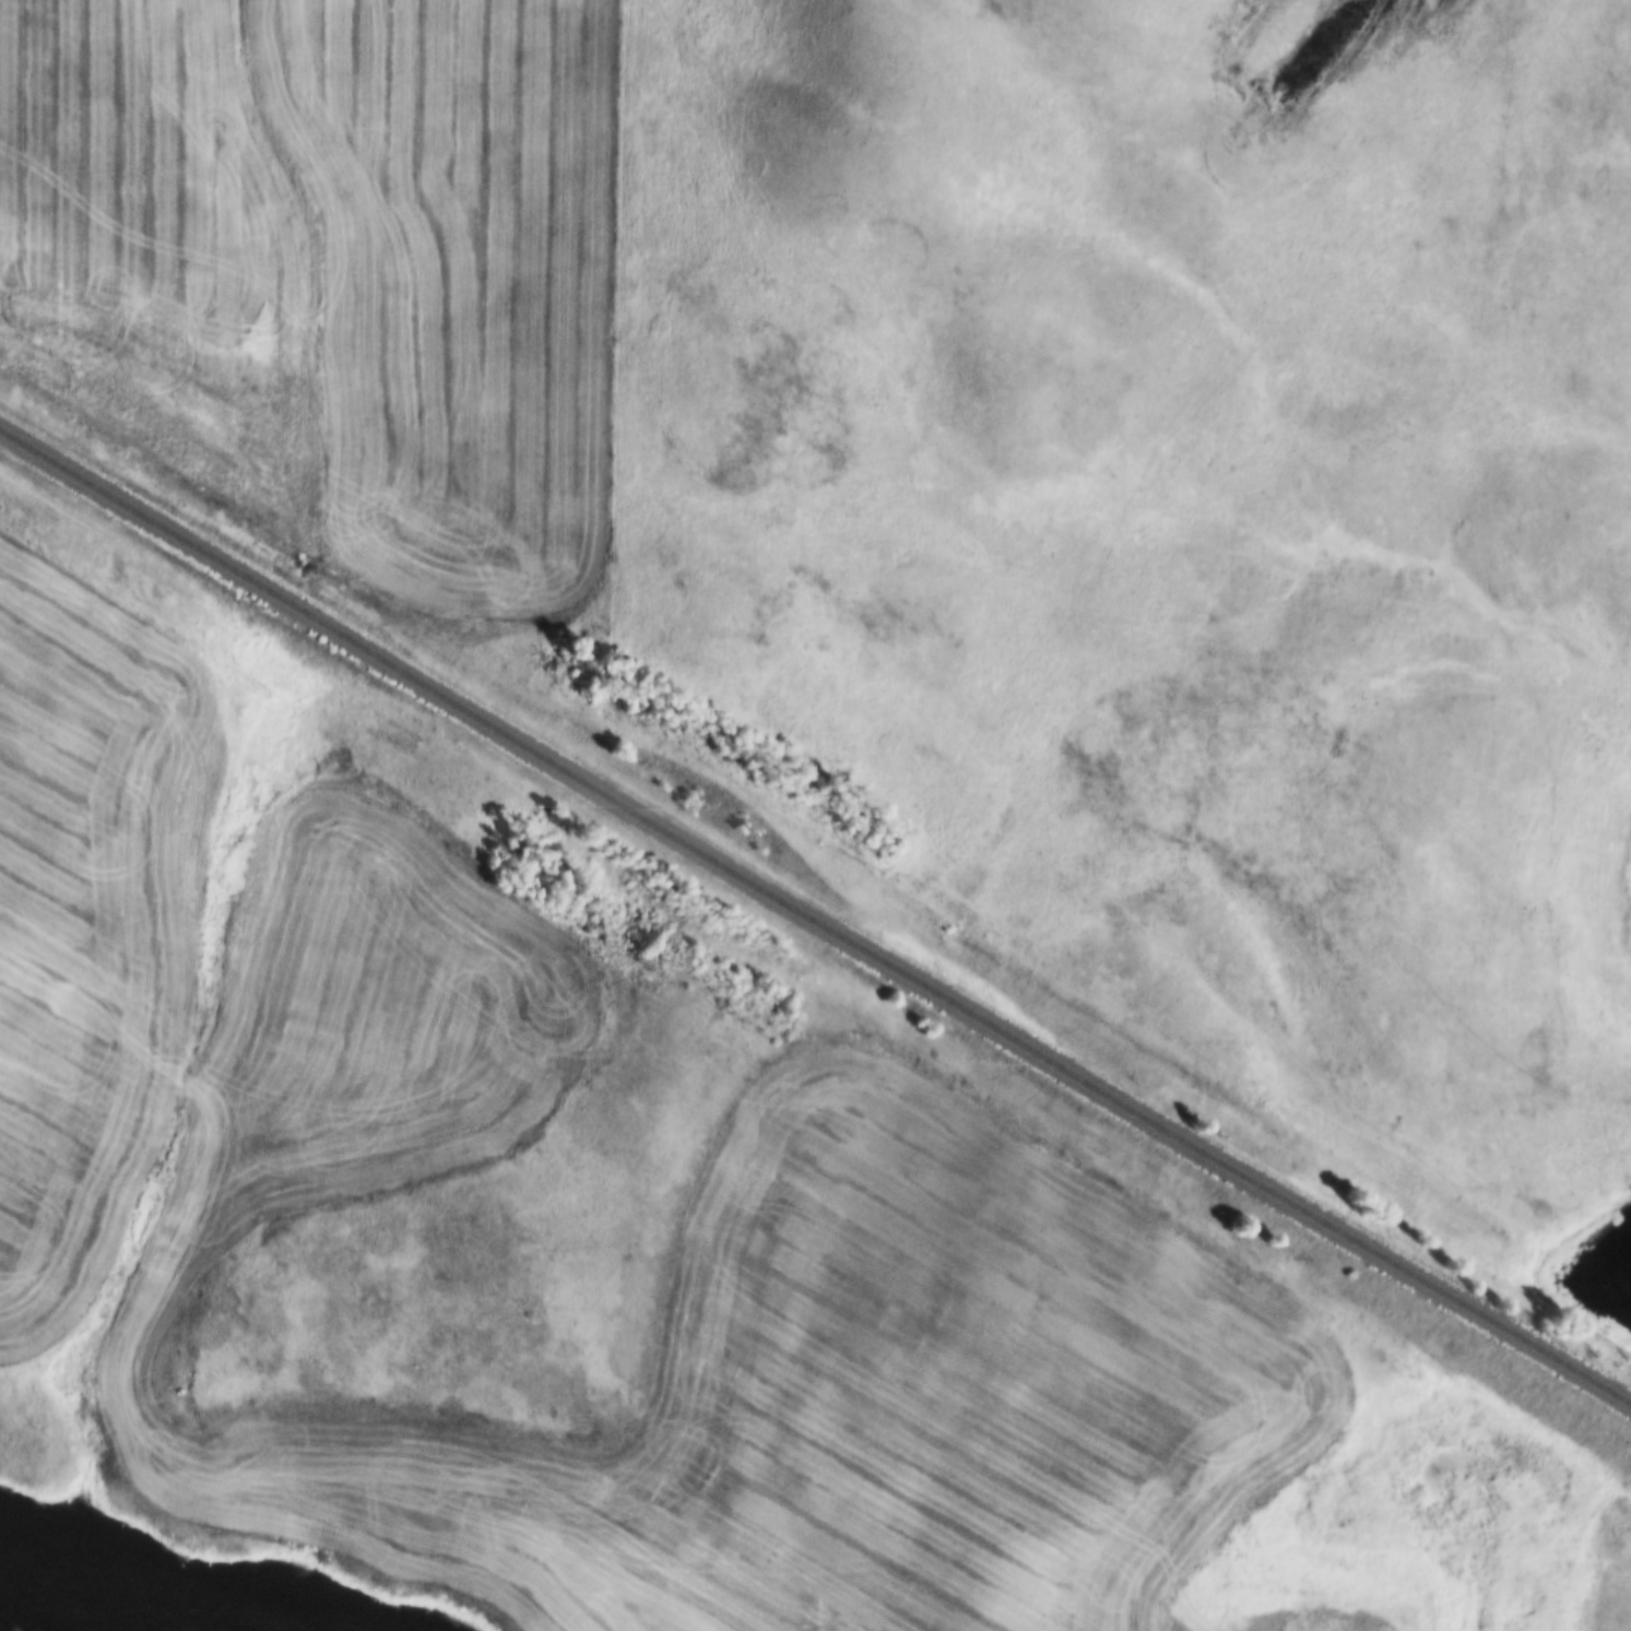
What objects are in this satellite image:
railway: (815, 925)
river: (163, 1588)

